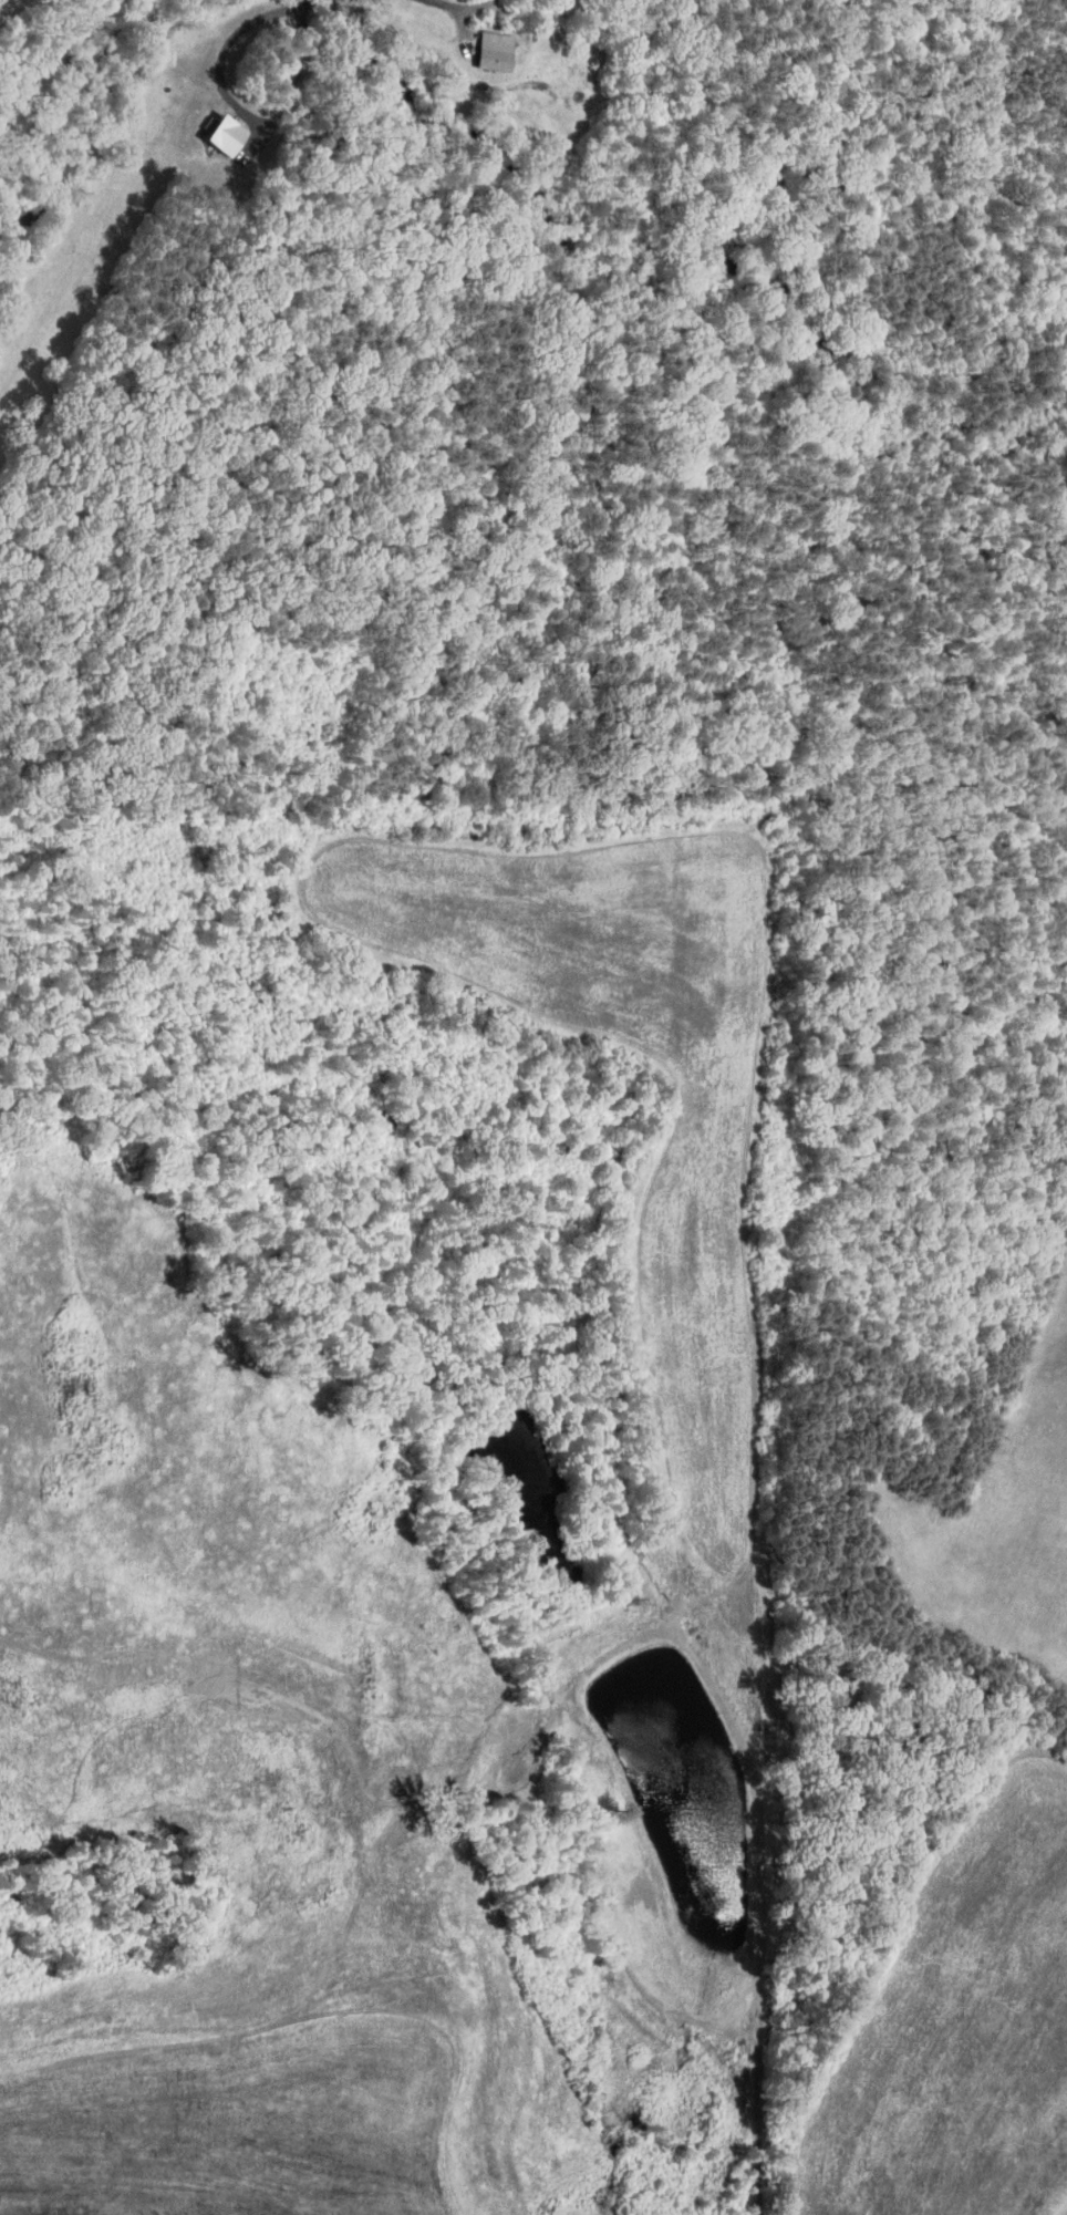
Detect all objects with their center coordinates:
road: (303, 2)
road: (466, 7)
building: (481, 45)
road: (241, 111)
building: (213, 130)
road: (550, 2128)

